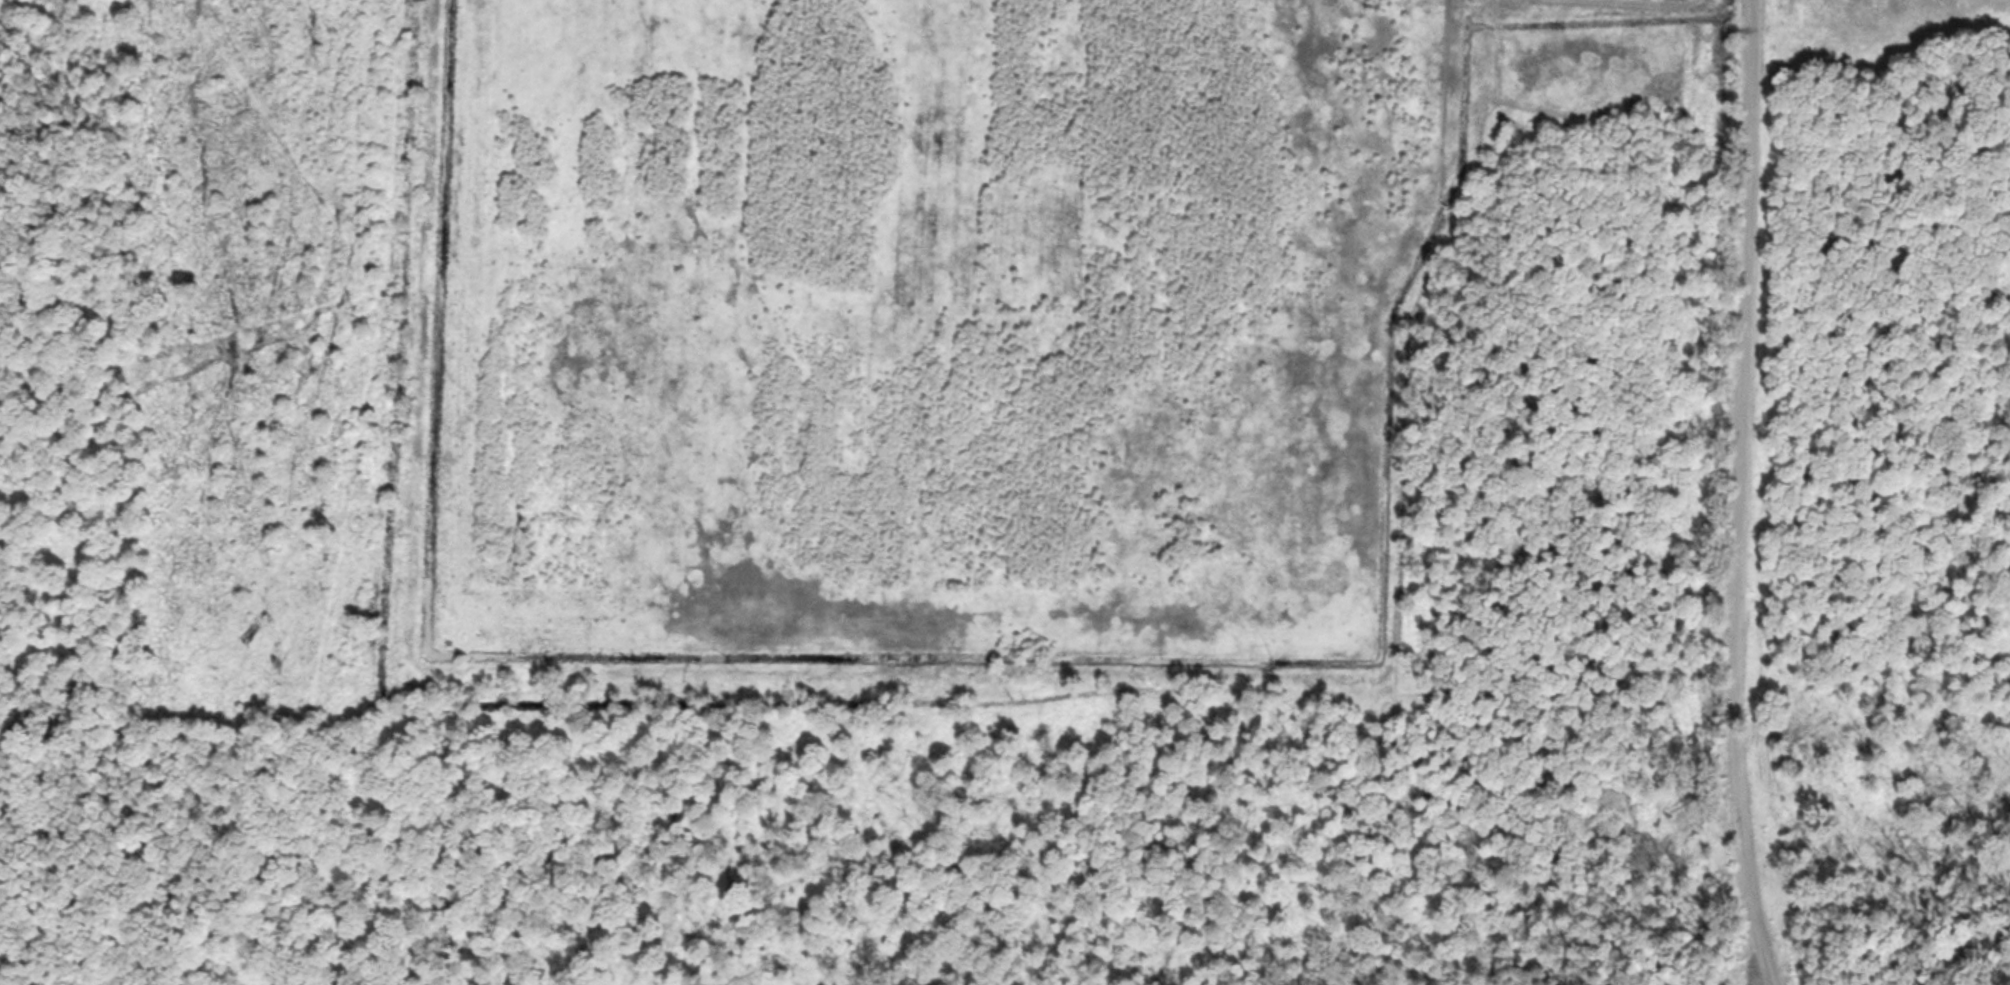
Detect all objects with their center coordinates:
road: (1739, 494)

